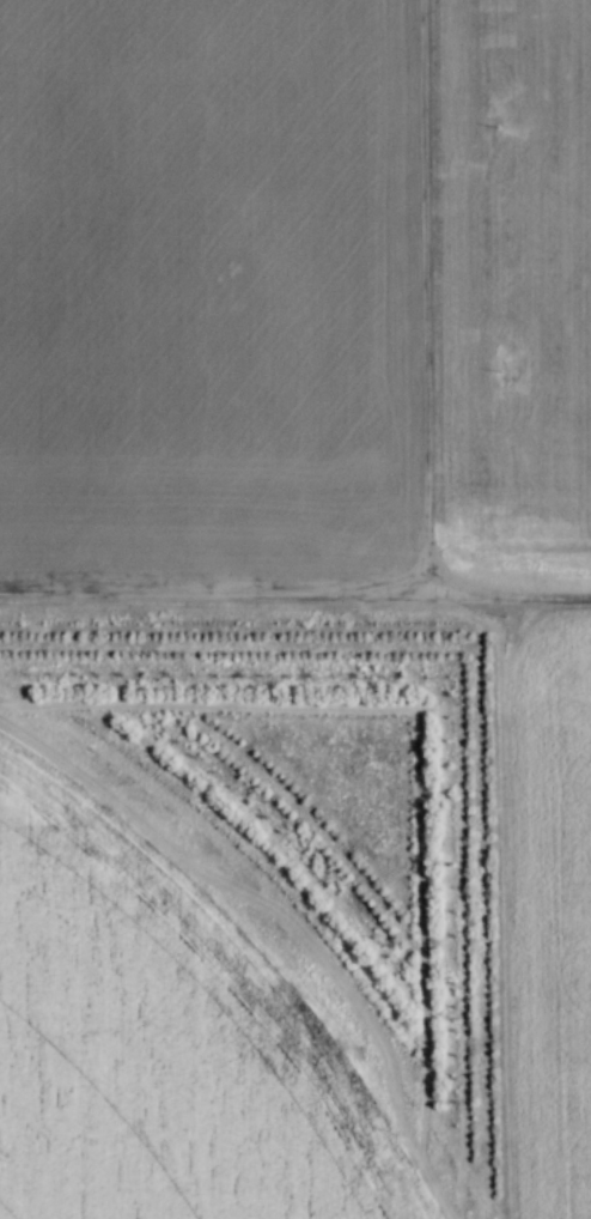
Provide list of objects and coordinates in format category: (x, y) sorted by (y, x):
crop: (294, 287)
road: (295, 595)
crop: (547, 910)
crop: (156, 1047)

